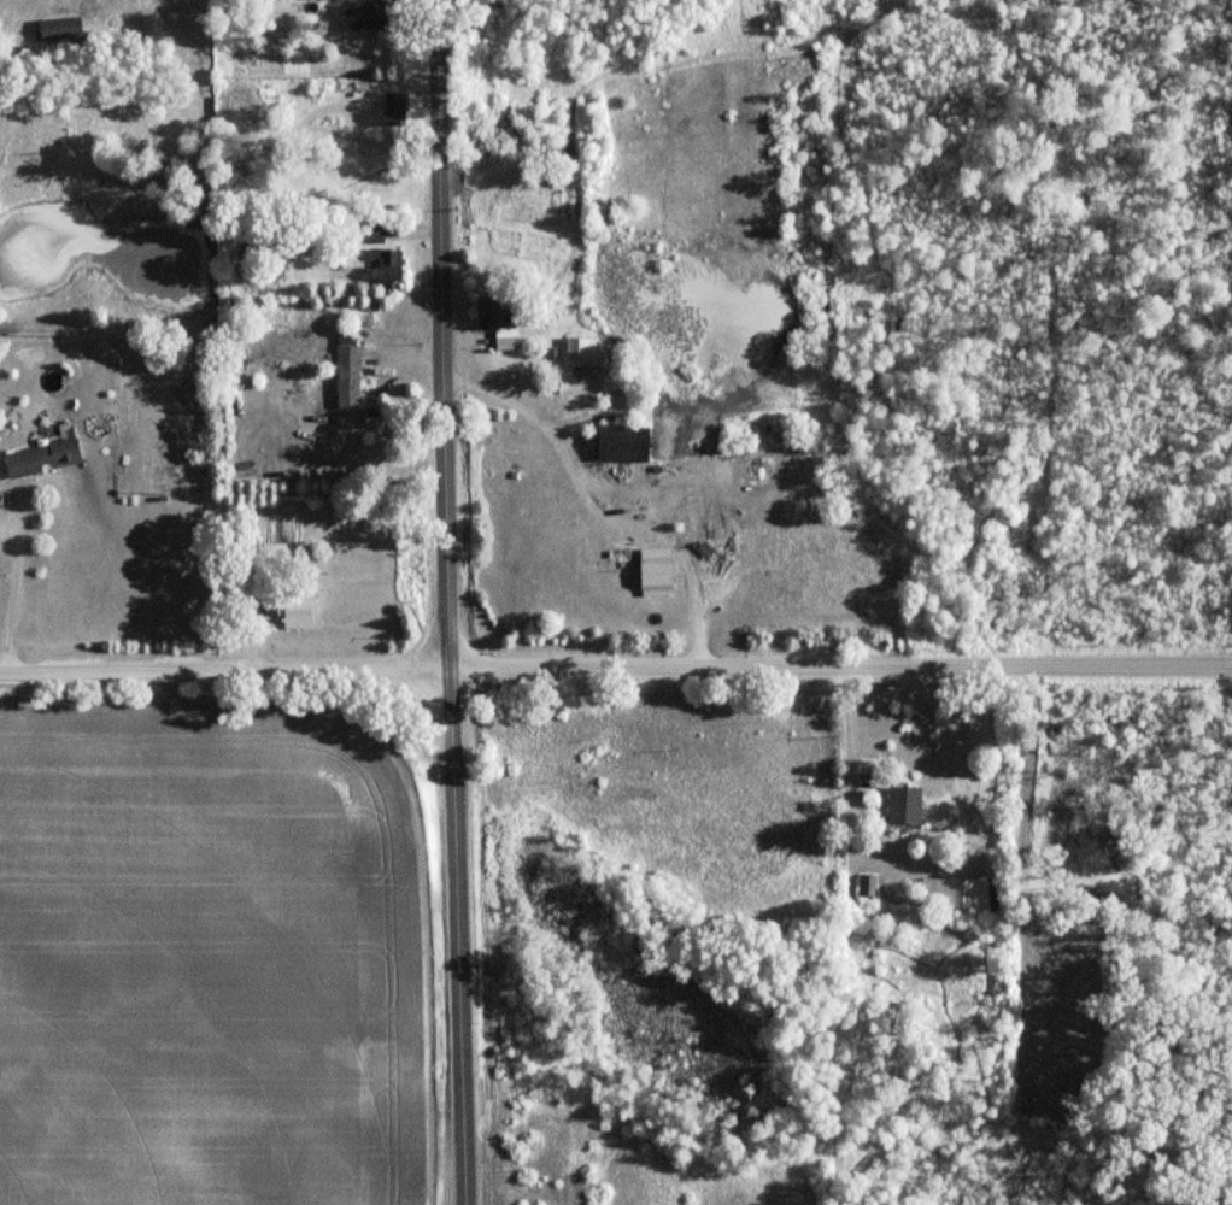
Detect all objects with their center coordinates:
building: (380, 16)
building: (64, 29)
building: (397, 110)
road: (417, 229)
building: (368, 230)
building: (386, 261)
building: (497, 319)
road: (463, 341)
building: (583, 351)
road: (410, 355)
building: (347, 370)
building: (622, 441)
building: (41, 455)
road: (598, 507)
building: (656, 572)
building: (259, 583)
road: (14, 588)
road: (447, 602)
building: (299, 610)
road: (616, 670)
building: (904, 801)
road: (935, 874)
building: (870, 886)
building: (957, 894)

